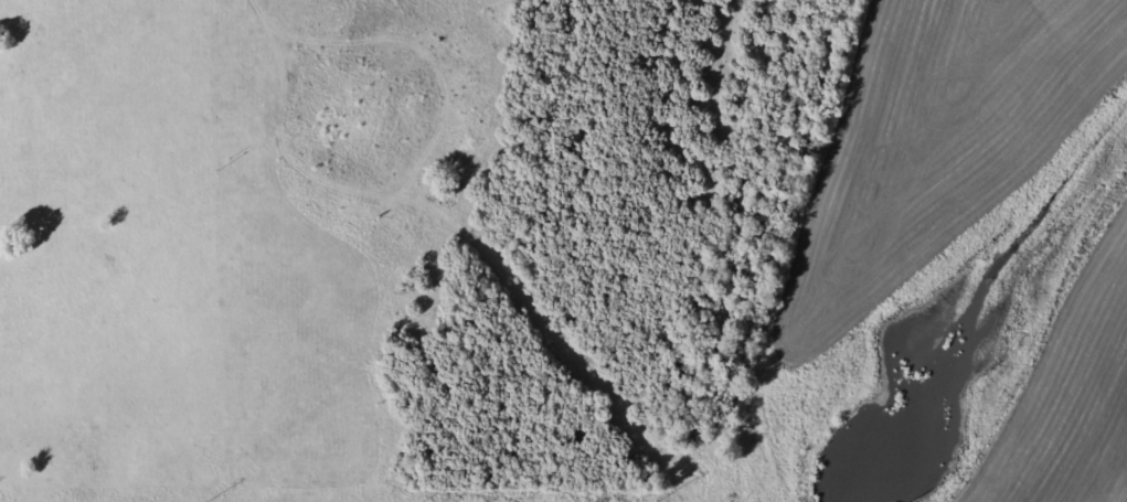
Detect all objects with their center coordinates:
road: (846, 128)
road: (9, 181)

